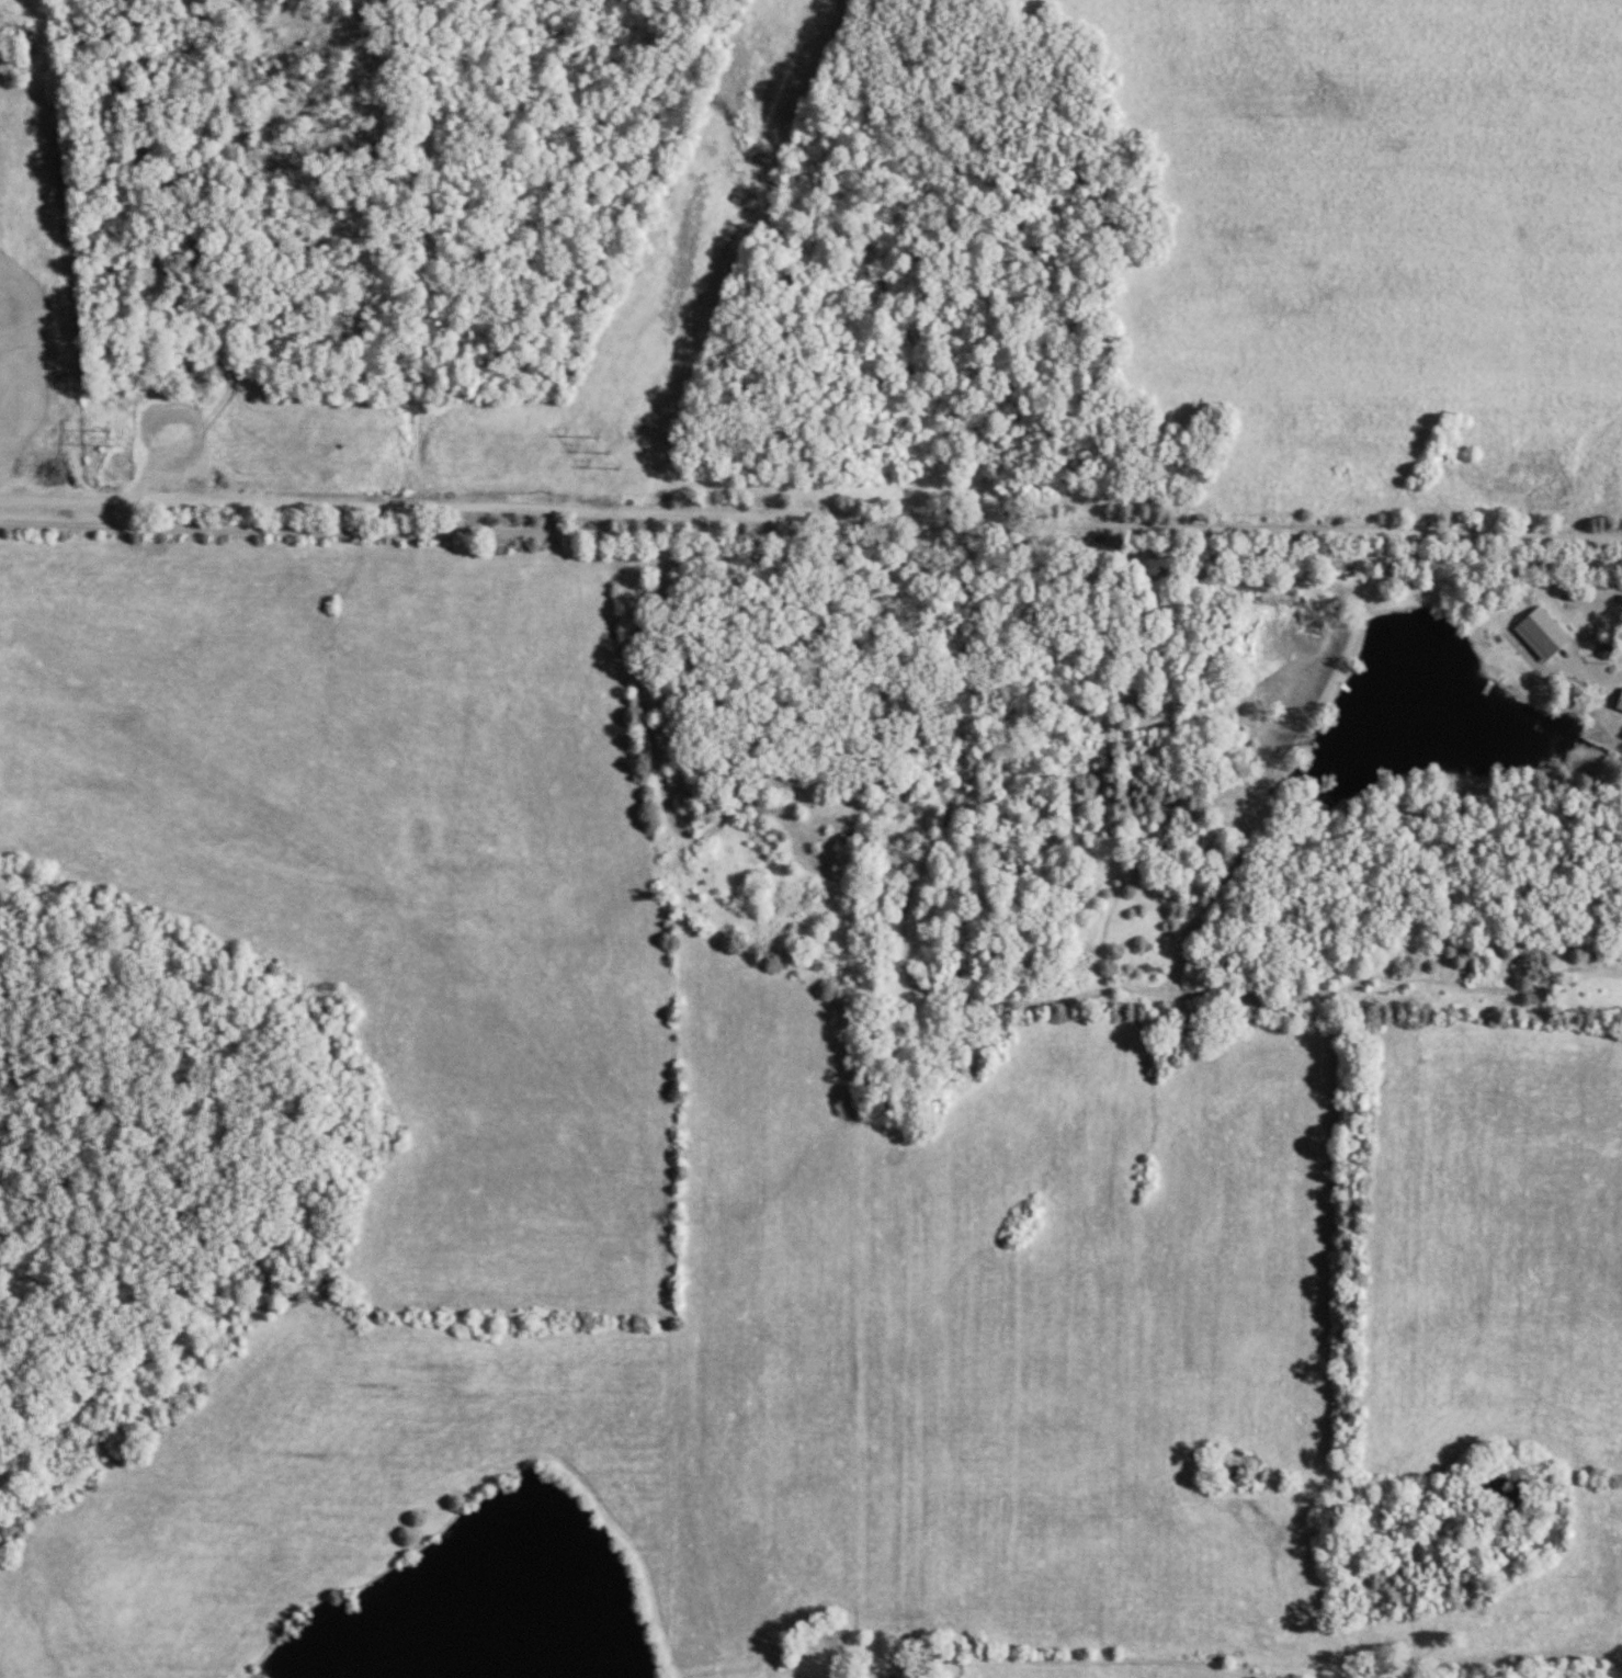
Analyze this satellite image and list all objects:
power tower: (114, 443)
power tower: (608, 454)
road: (810, 511)
road: (810, 538)
road: (1329, 594)
road: (1508, 1655)
road: (1068, 1663)

